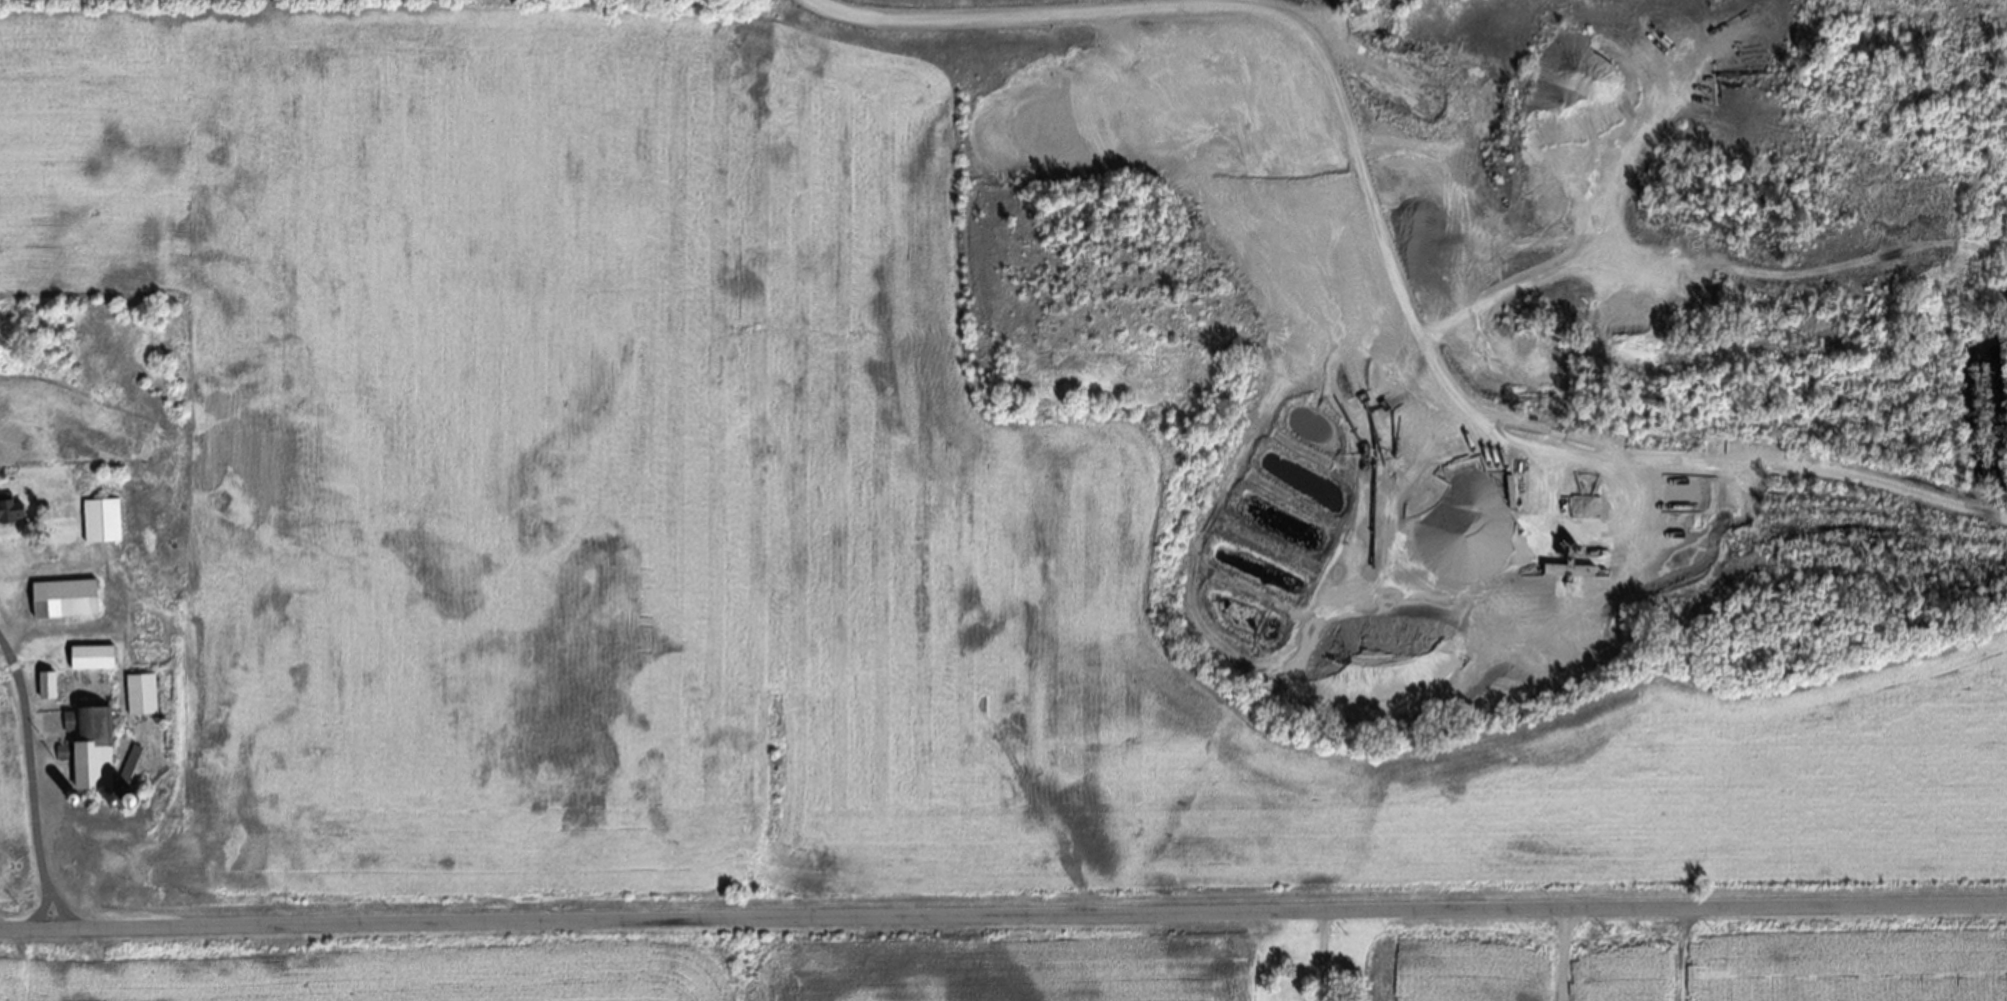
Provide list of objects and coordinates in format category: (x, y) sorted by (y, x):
road: (1086, 15)
quarry: (1500, 326)
building: (9, 515)
building: (100, 526)
building: (63, 604)
building: (90, 662)
building: (46, 690)
building: (140, 699)
building: (88, 753)
road: (30, 762)
road: (50, 891)
road: (1003, 916)

